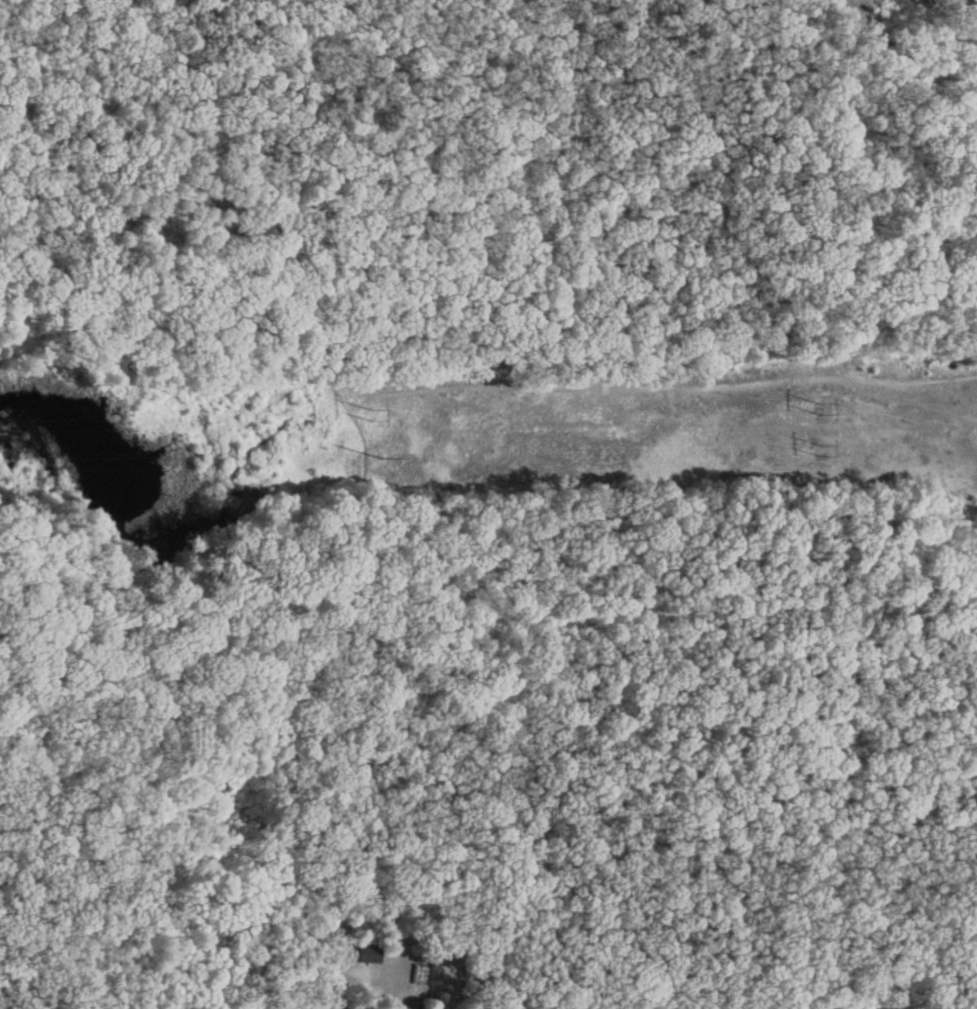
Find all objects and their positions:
power tower: (819, 407)
power tower: (370, 412)
power tower: (819, 451)
power tower: (371, 455)
building: (965, 769)
building: (363, 952)

